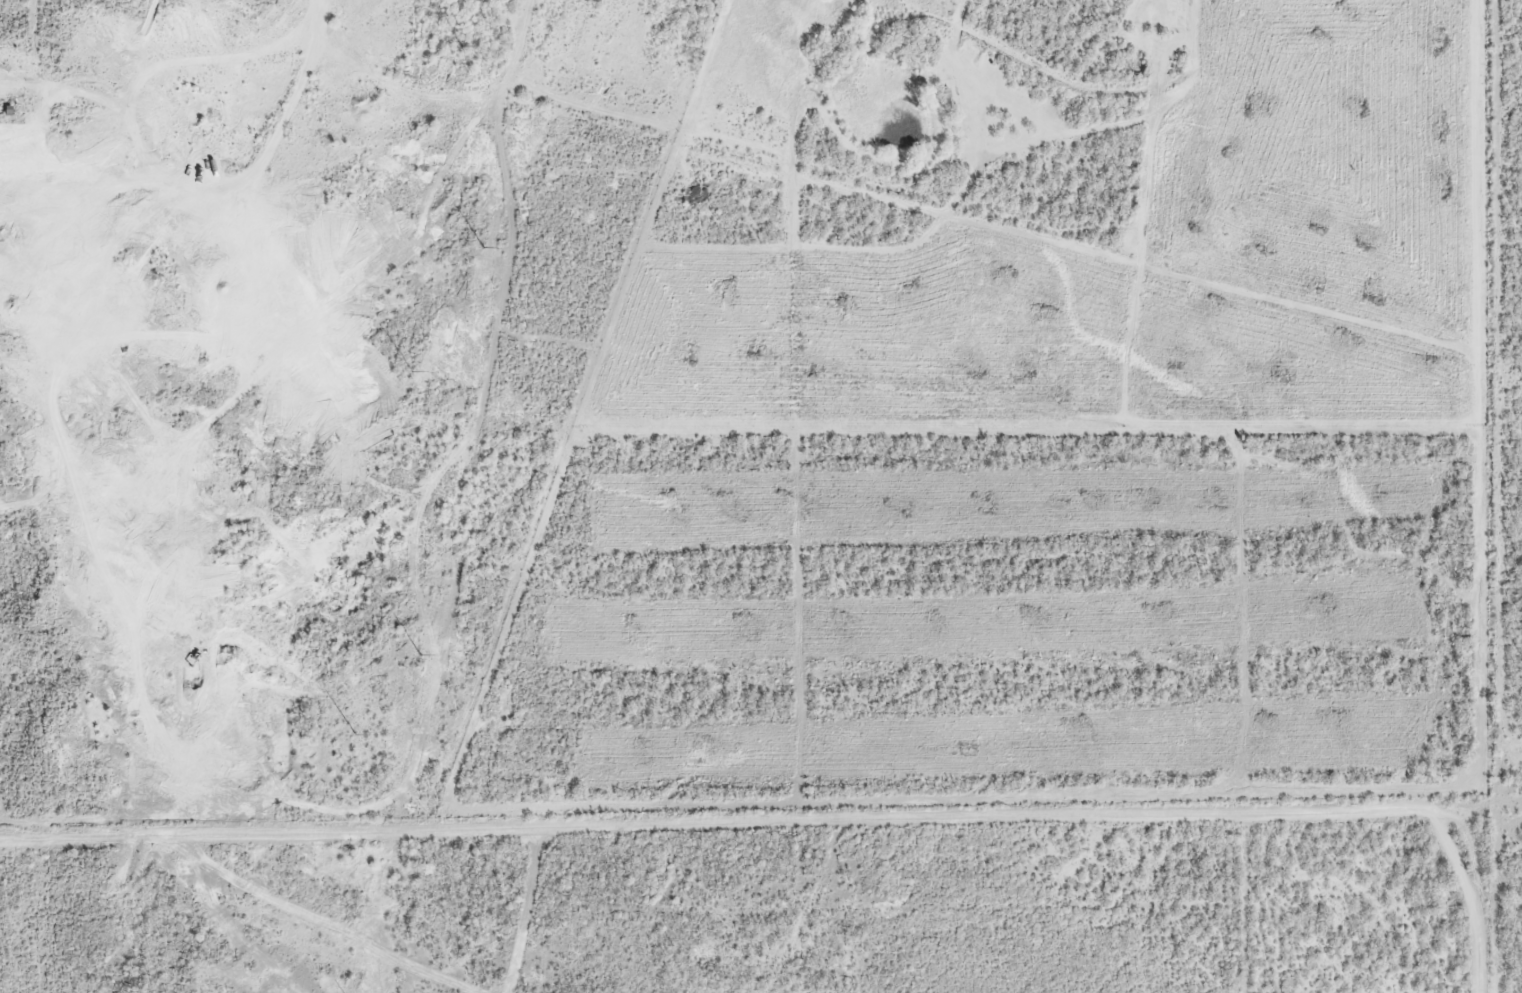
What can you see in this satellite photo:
power tower: (462, 47)
power tower: (484, 248)
power tower: (410, 375)
power tower: (421, 653)
power tower: (355, 735)

